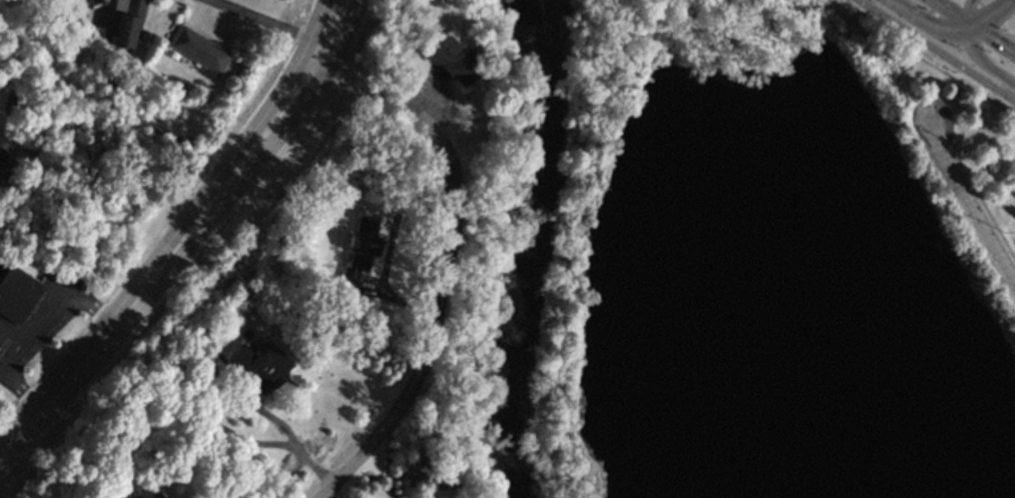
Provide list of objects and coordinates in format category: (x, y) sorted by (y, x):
road: (946, 13)
road: (967, 13)
road: (984, 13)
road: (257, 21)
road: (926, 21)
building: (127, 22)
road: (316, 24)
road: (346, 32)
road: (990, 41)
building: (199, 50)
road: (936, 50)
road: (319, 56)
building: (453, 61)
road: (982, 62)
road: (273, 104)
road: (119, 108)
road: (291, 118)
building: (3, 163)
road: (966, 208)
road: (388, 245)
river: (528, 249)
building: (359, 253)
road: (441, 270)
park: (749, 270)
building: (17, 294)
road: (129, 311)
road: (32, 328)
building: (259, 366)
road: (224, 385)
road: (326, 494)
building: (154, 495)
building: (134, 496)

